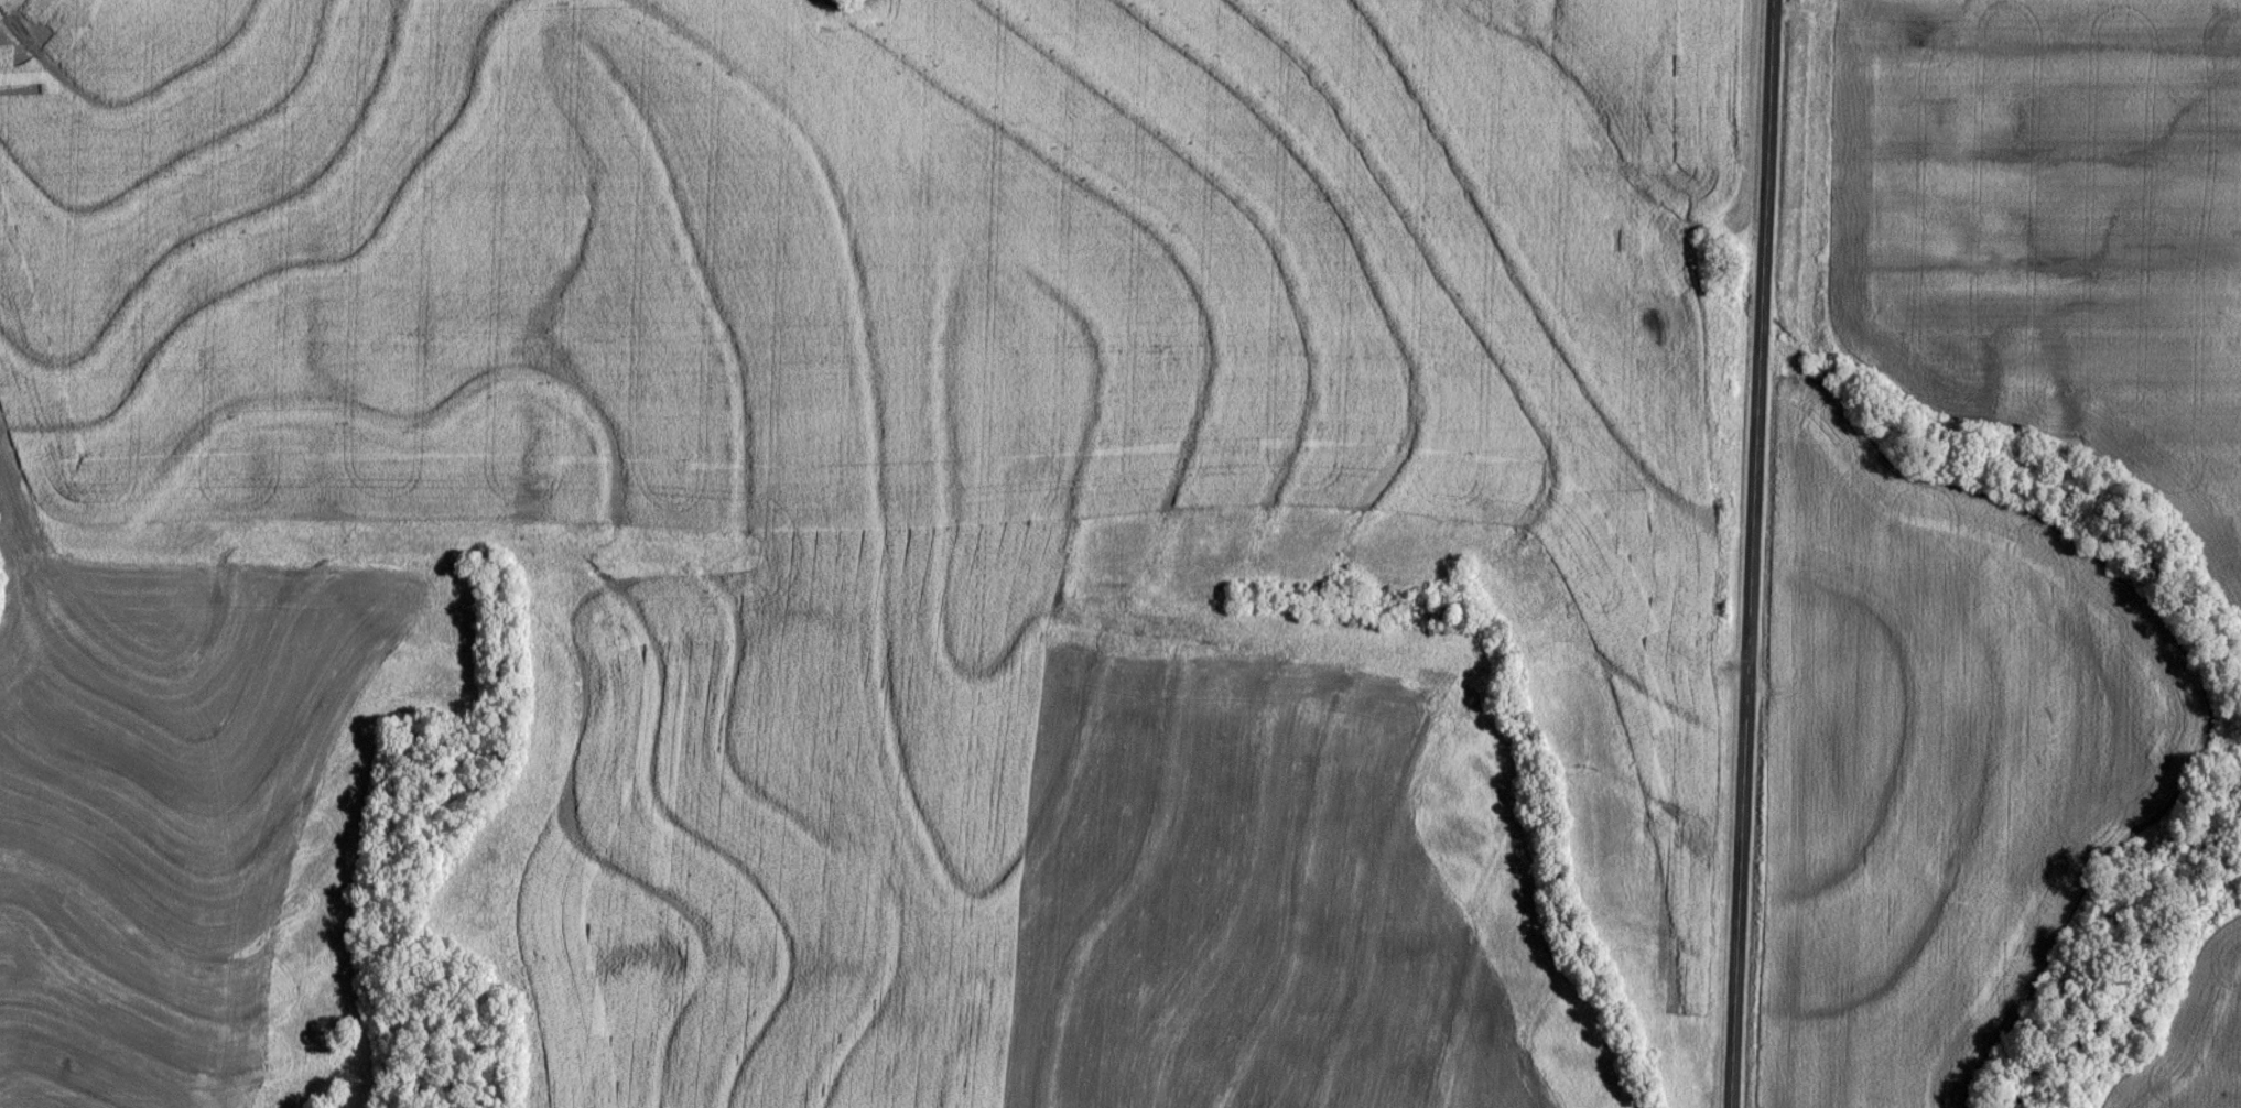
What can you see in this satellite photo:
crop: (2047, 235)
road: (1753, 553)
crop: (1940, 764)
crop: (2187, 1030)

